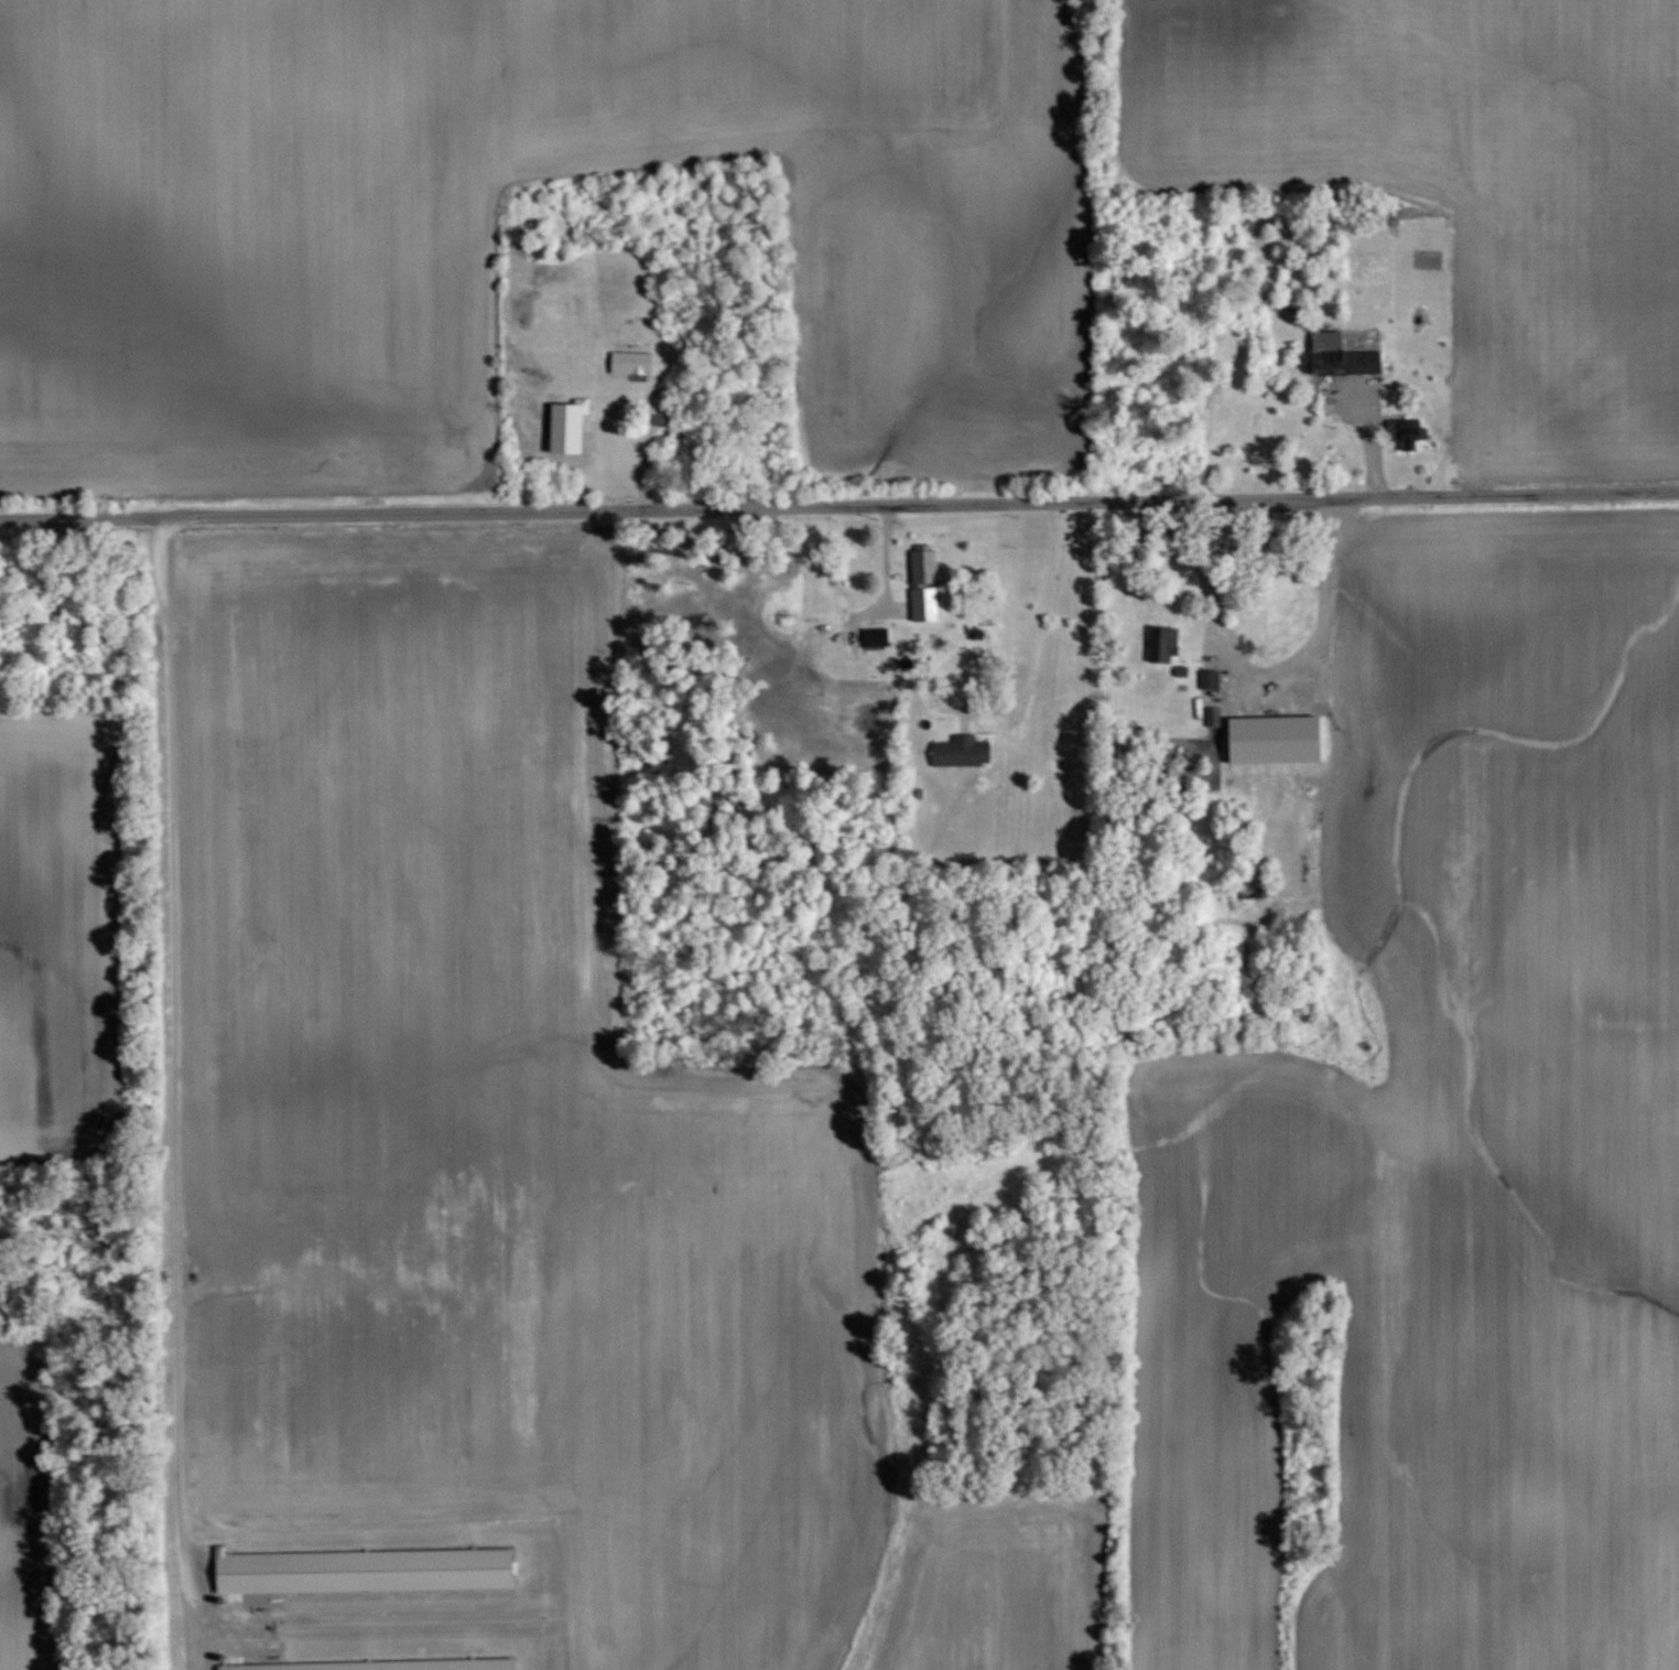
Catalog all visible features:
building: (1340, 354)
building: (633, 362)
building: (1404, 431)
road: (839, 502)
building: (924, 564)
road: (1043, 605)
building: (876, 635)
building: (1170, 643)
road: (1266, 674)
building: (1210, 677)
building: (961, 750)
road: (175, 1090)

